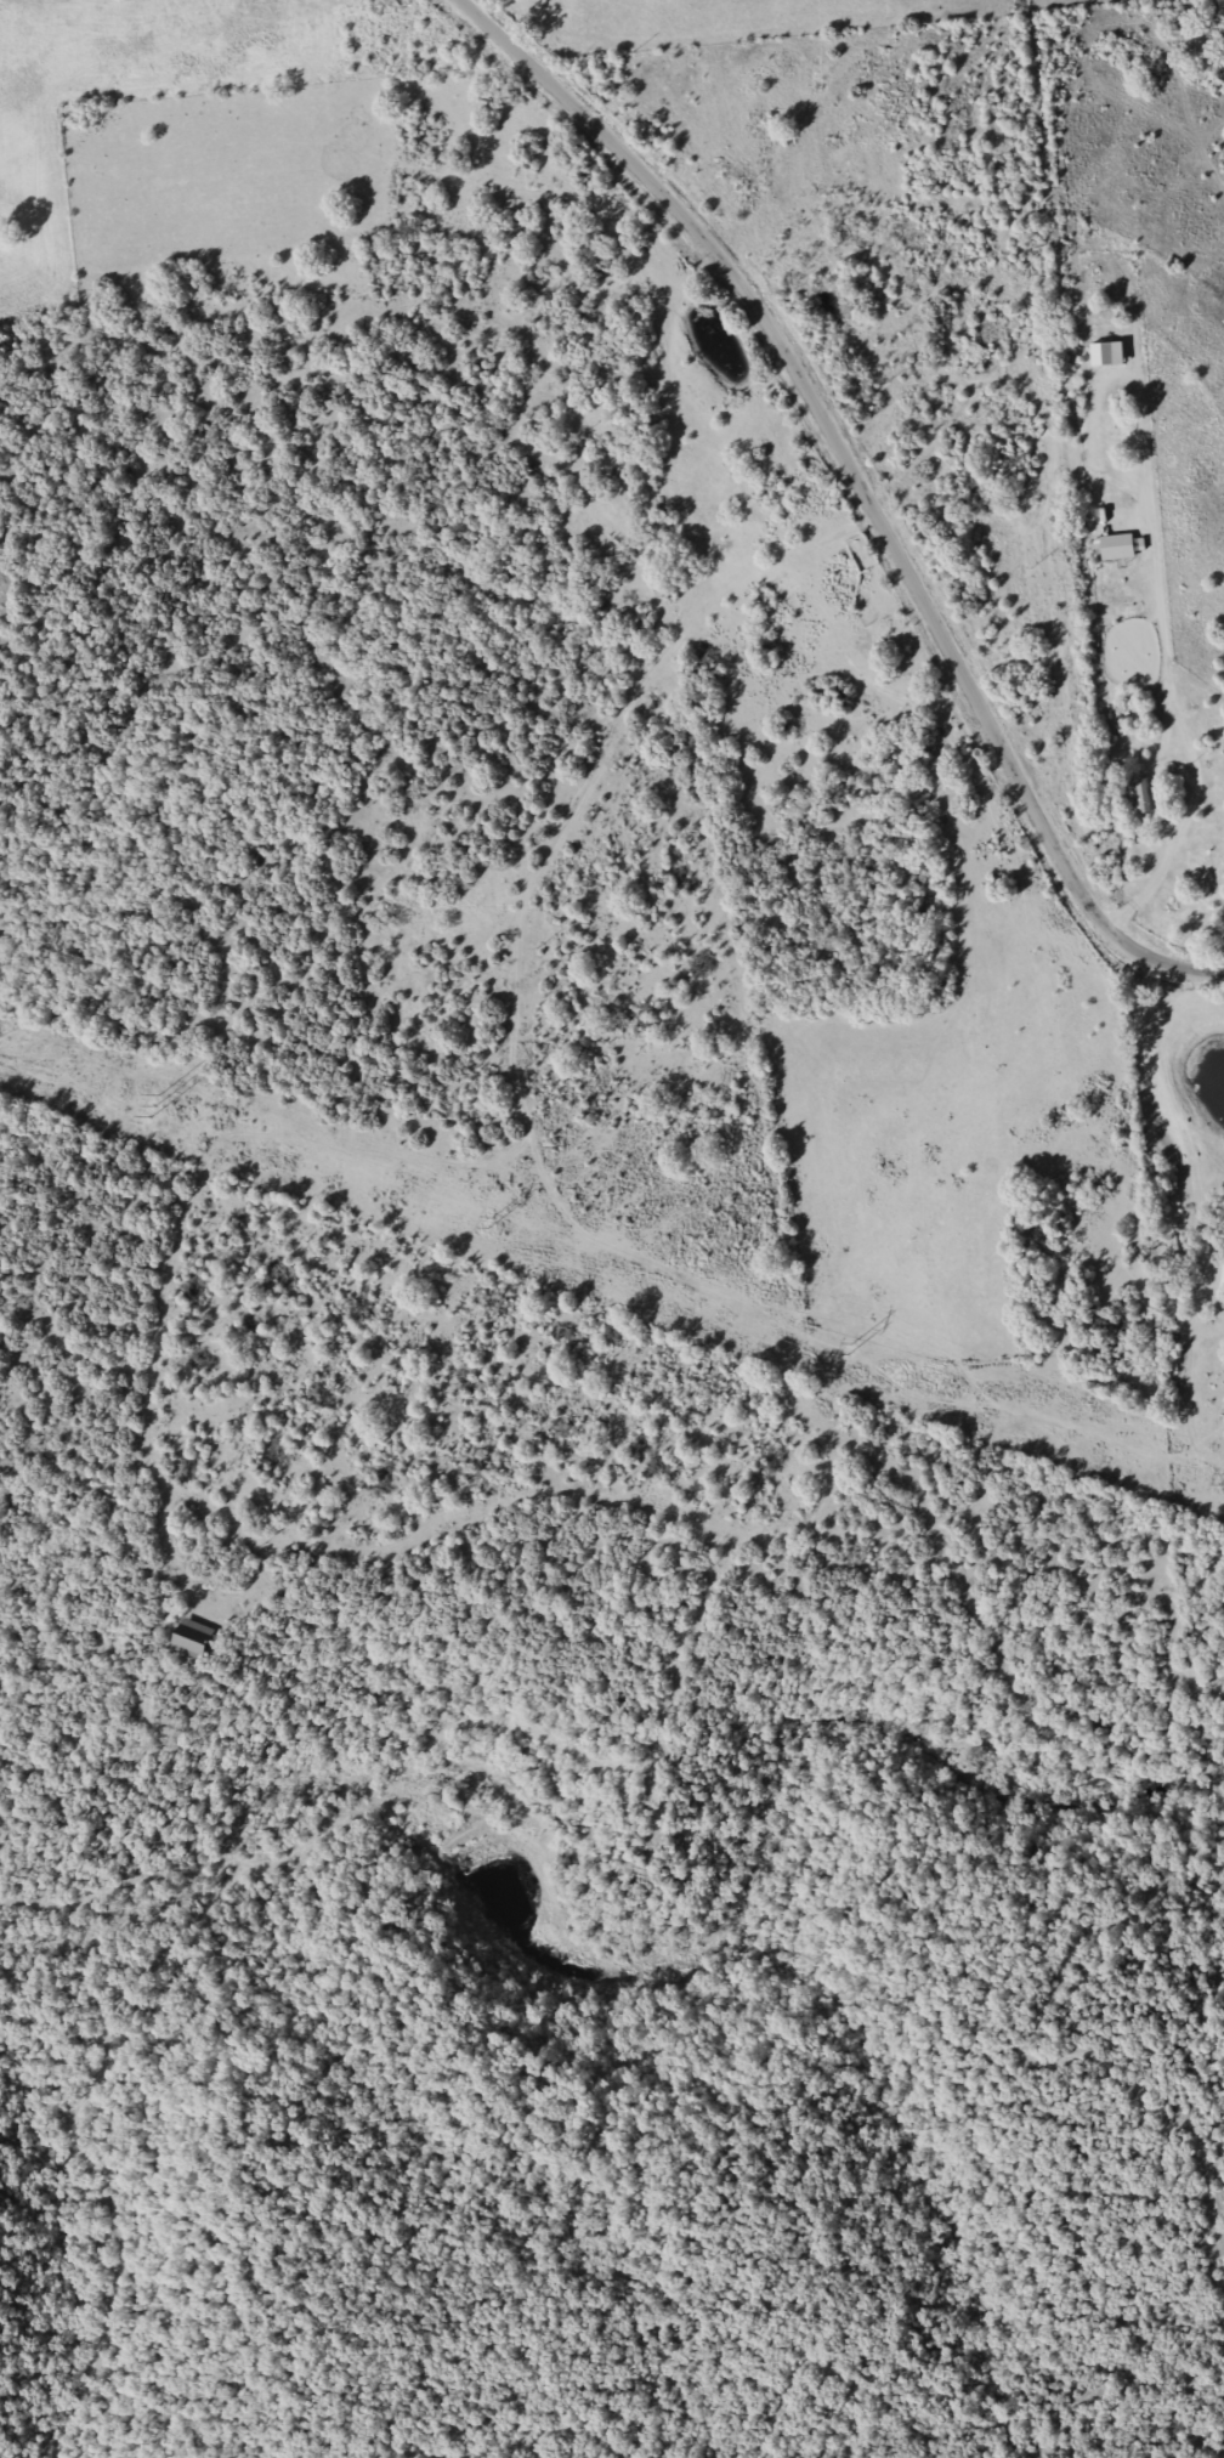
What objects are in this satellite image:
building: (1103, 355)
road: (929, 446)
road: (858, 488)
building: (1140, 795)
building: (212, 1641)

